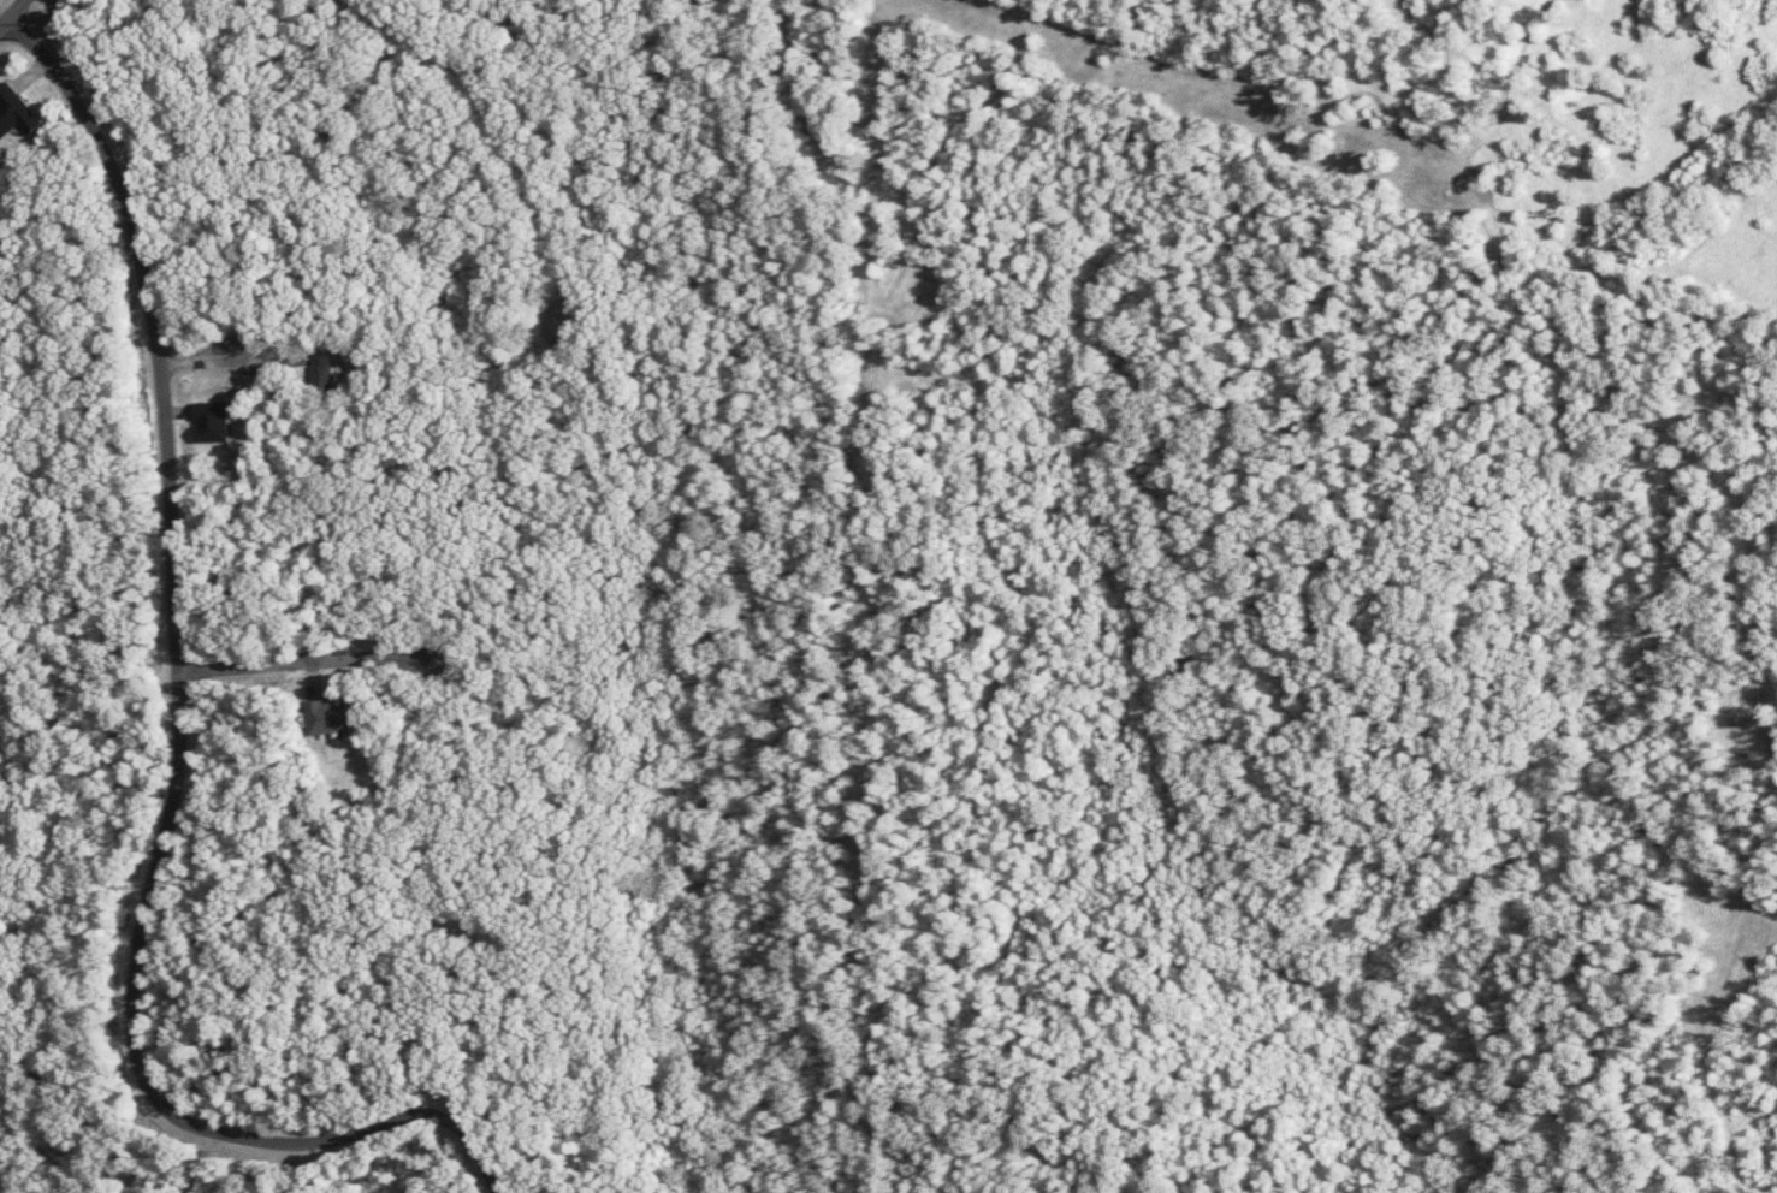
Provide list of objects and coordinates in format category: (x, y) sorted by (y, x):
road: (11, 12)
road: (2, 17)
road: (800, 83)
building: (16, 112)
road: (508, 125)
road: (211, 362)
building: (321, 369)
building: (211, 422)
road: (593, 572)
road: (309, 666)
road: (184, 689)
building: (327, 716)
road: (399, 969)
road: (478, 1147)
road: (202, 1165)

